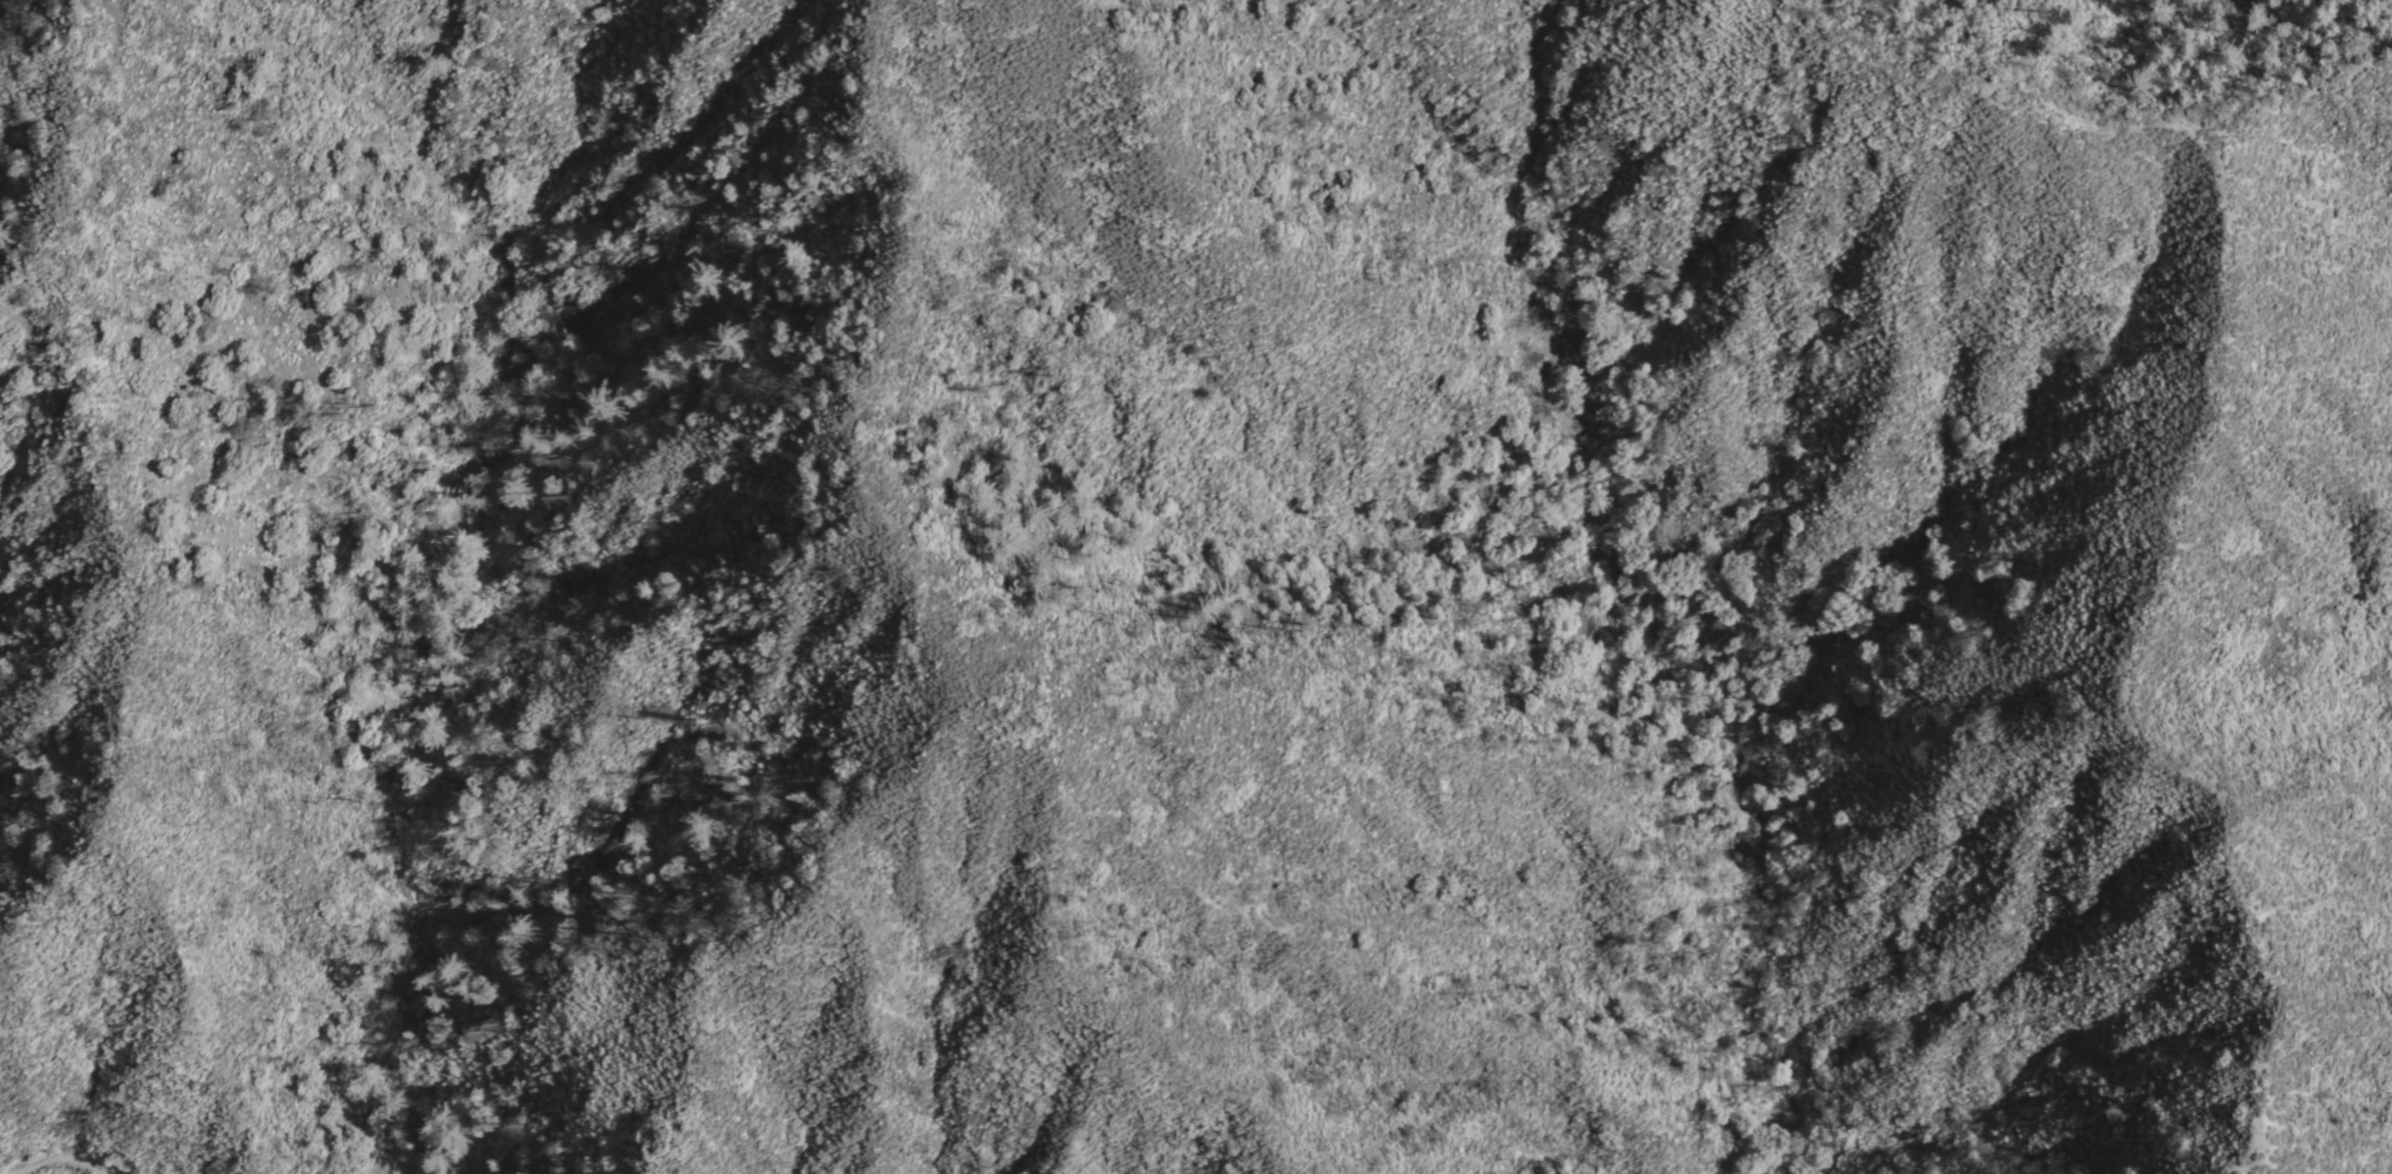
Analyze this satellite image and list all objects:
road: (406, 1137)
road: (45, 1168)

